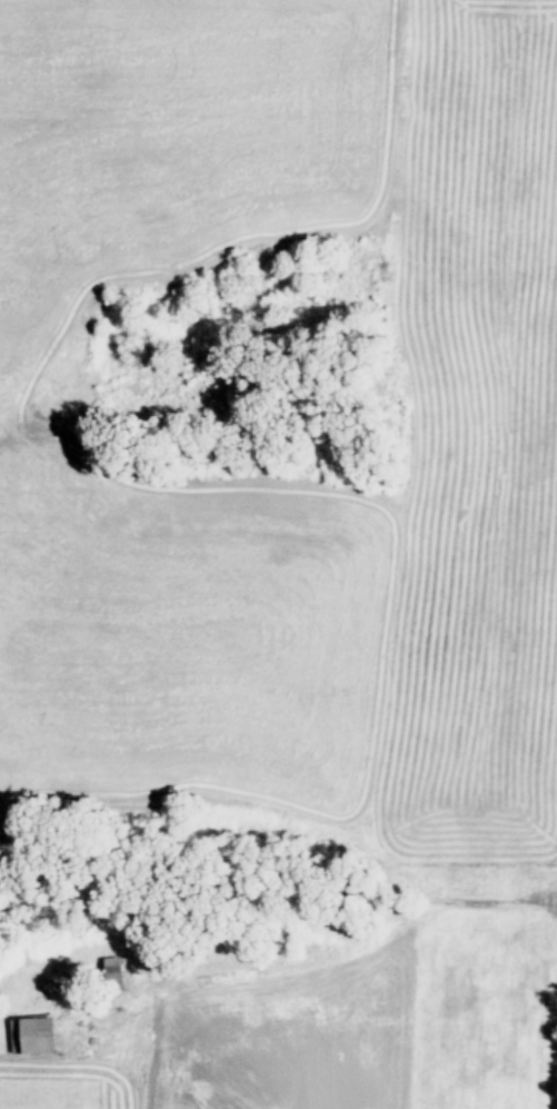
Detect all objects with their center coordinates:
building: (118, 976)
building: (38, 1037)

